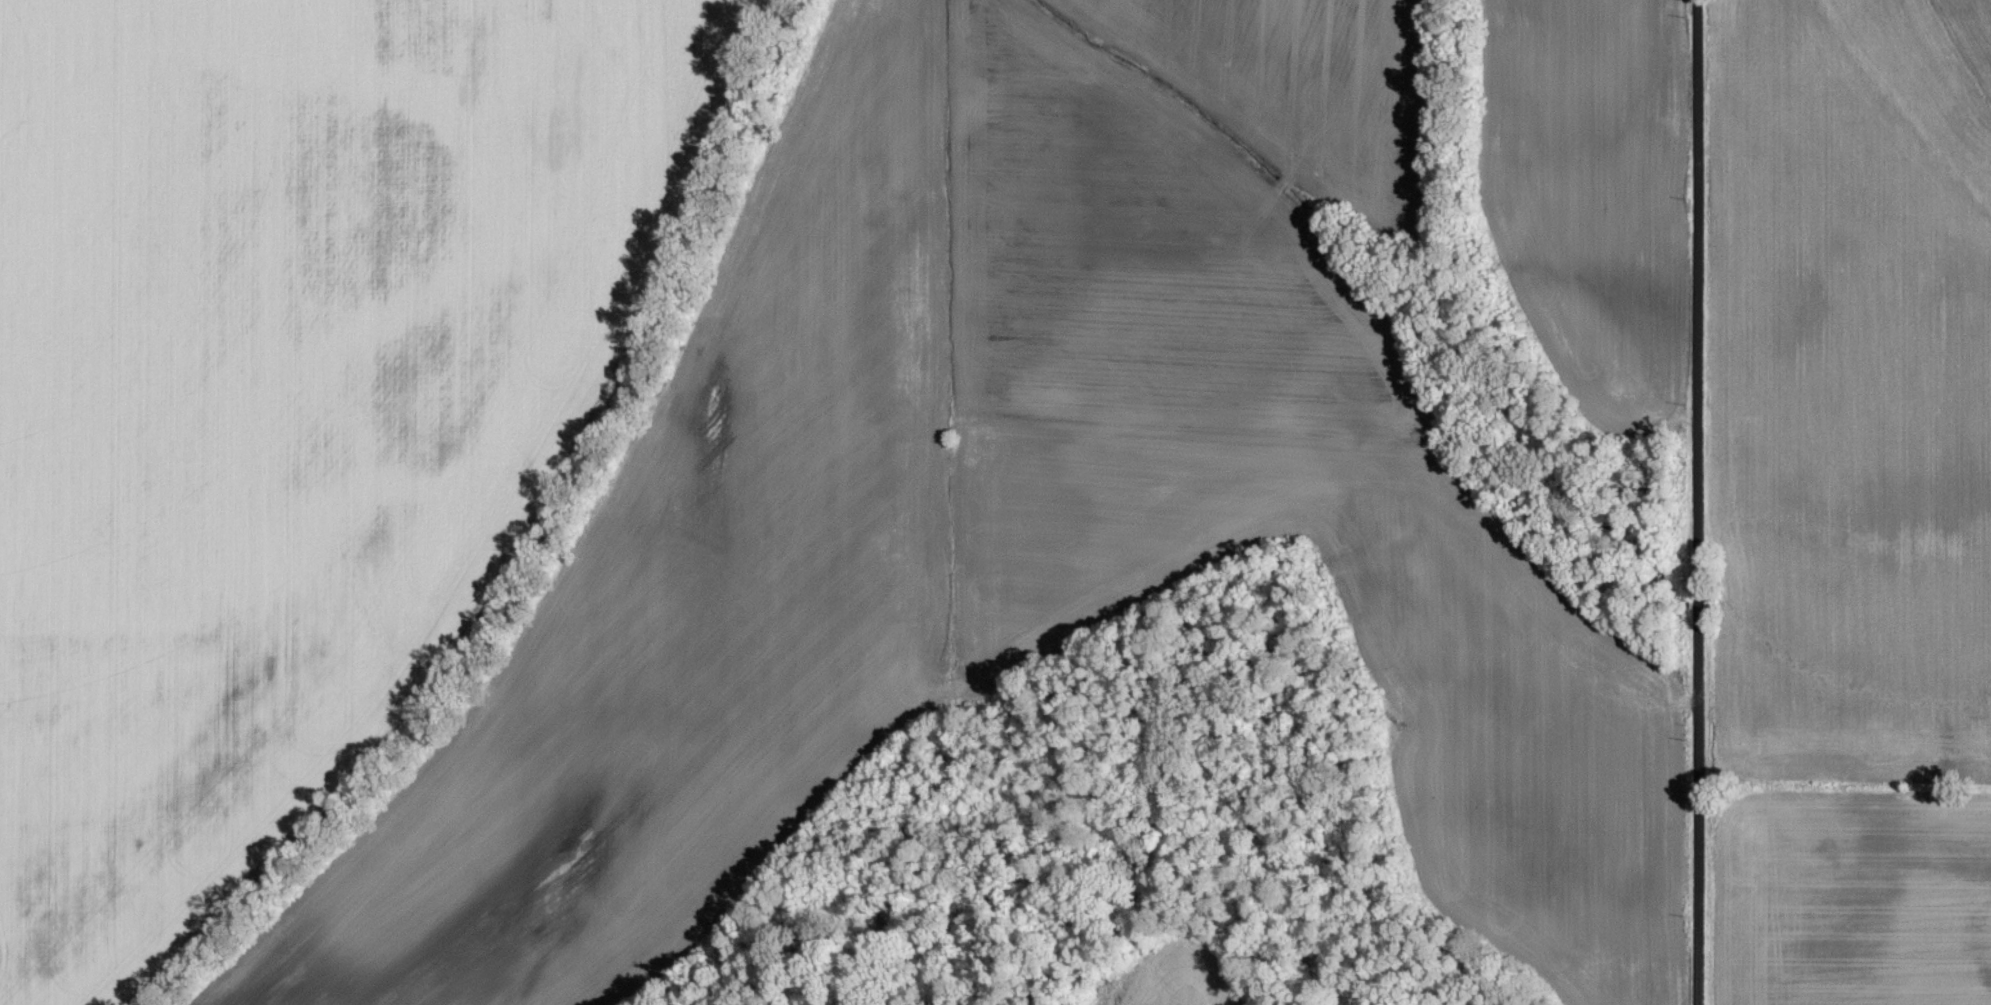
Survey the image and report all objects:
road: (1699, 502)

